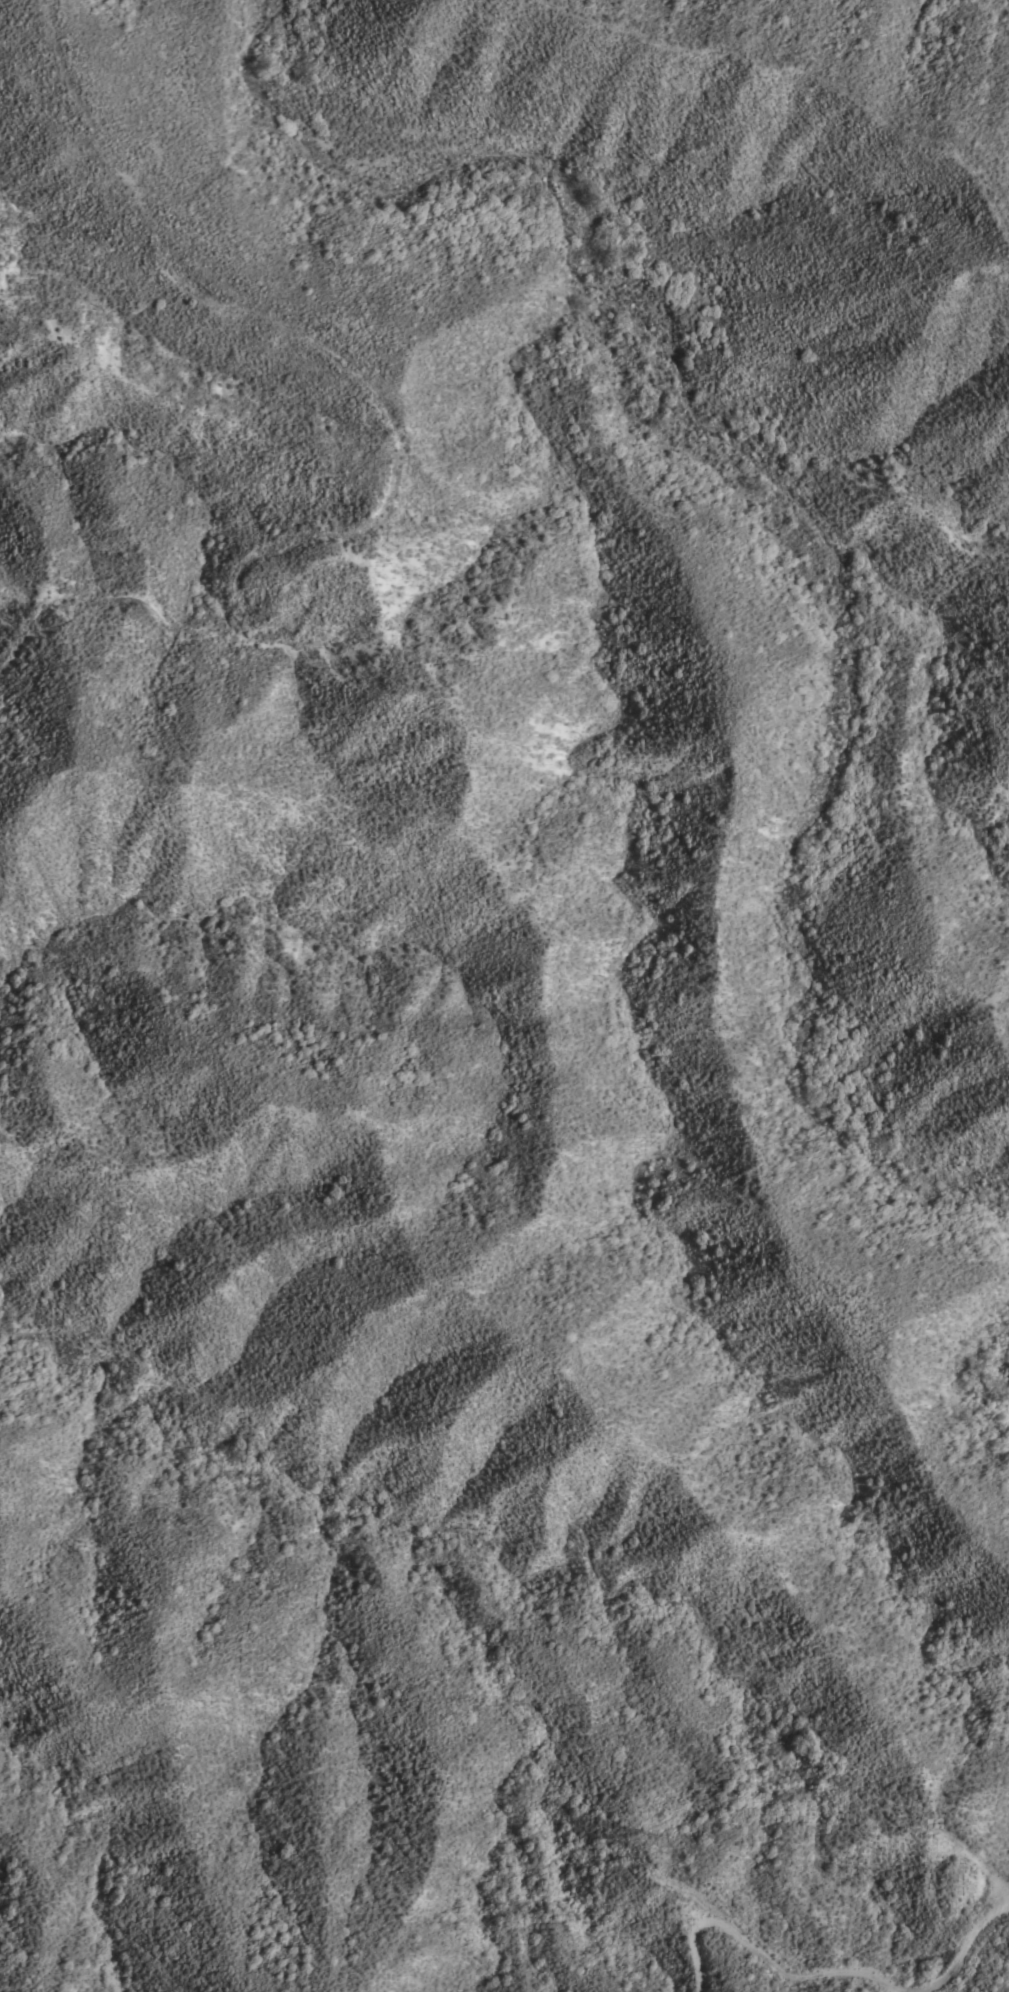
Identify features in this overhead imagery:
power tower: (649, 1839)
road: (826, 1972)

